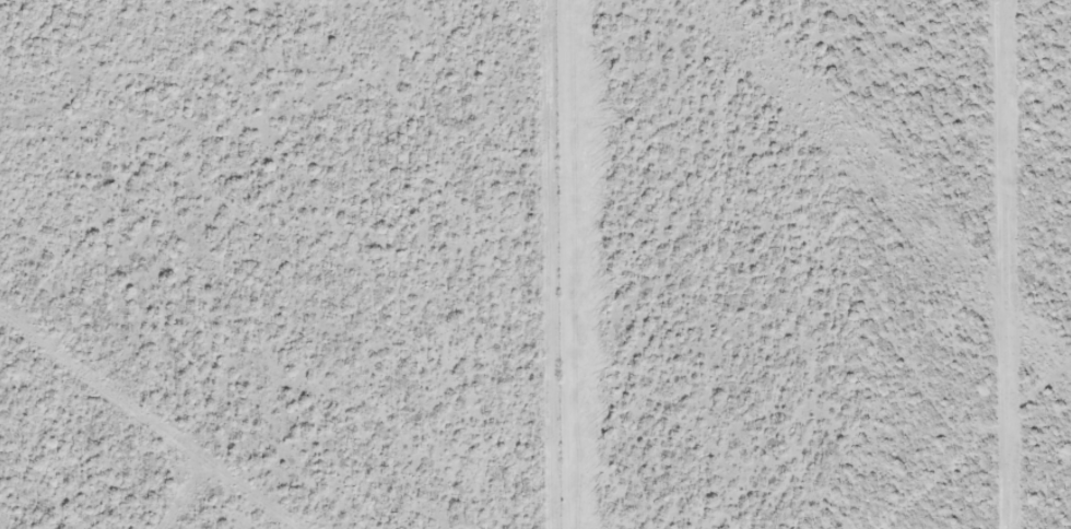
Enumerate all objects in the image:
road: (1022, 264)

